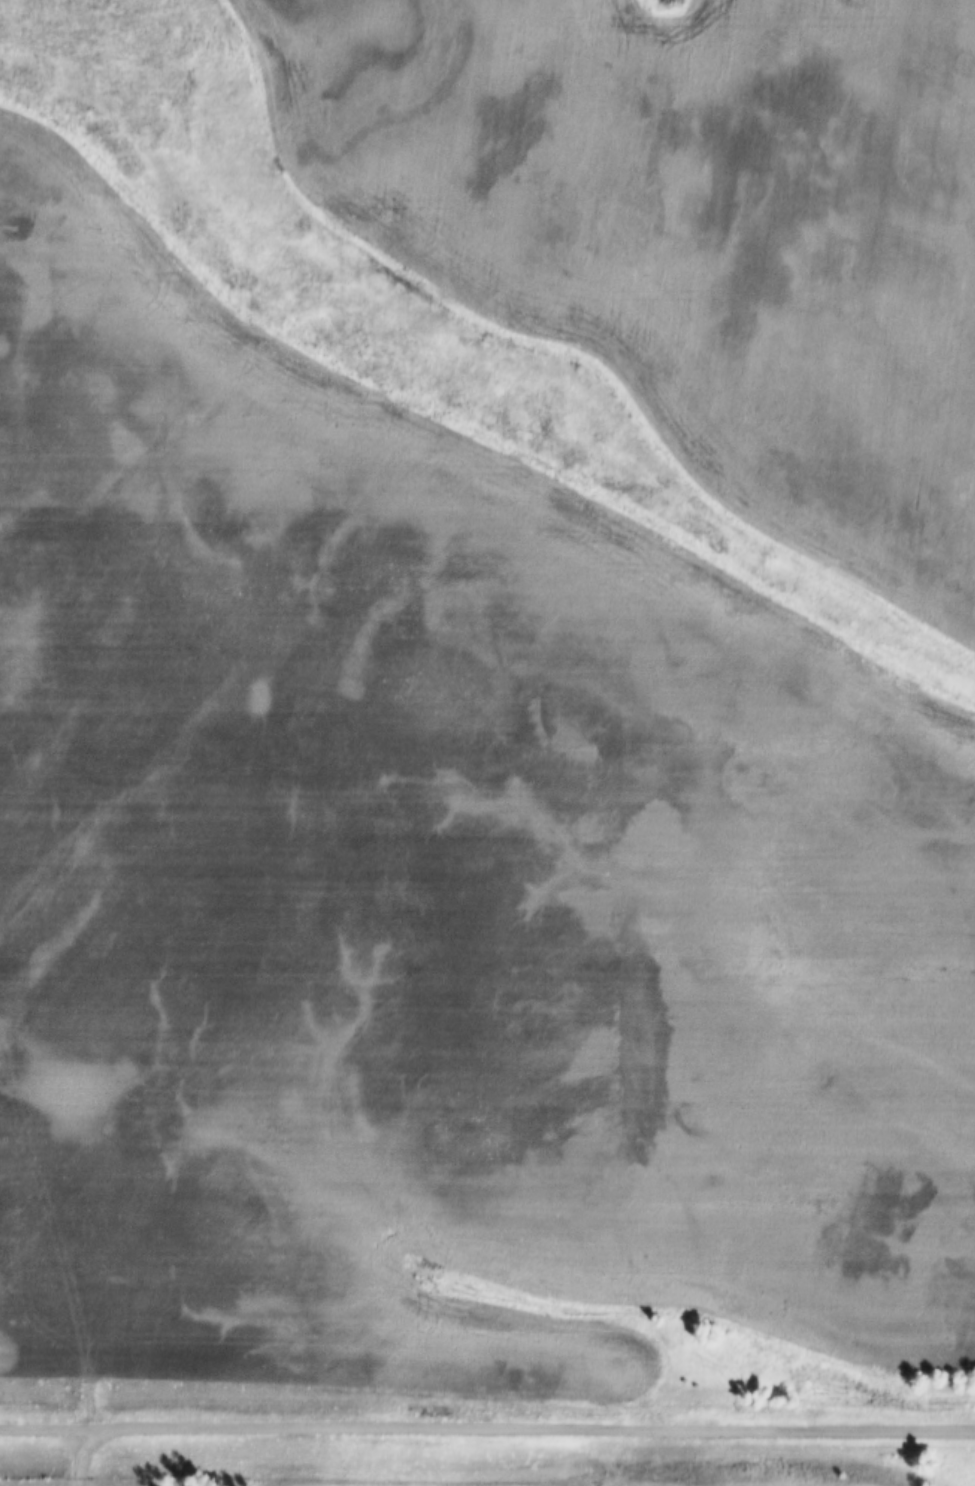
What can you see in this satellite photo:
road: (487, 1426)
road: (84, 1452)

